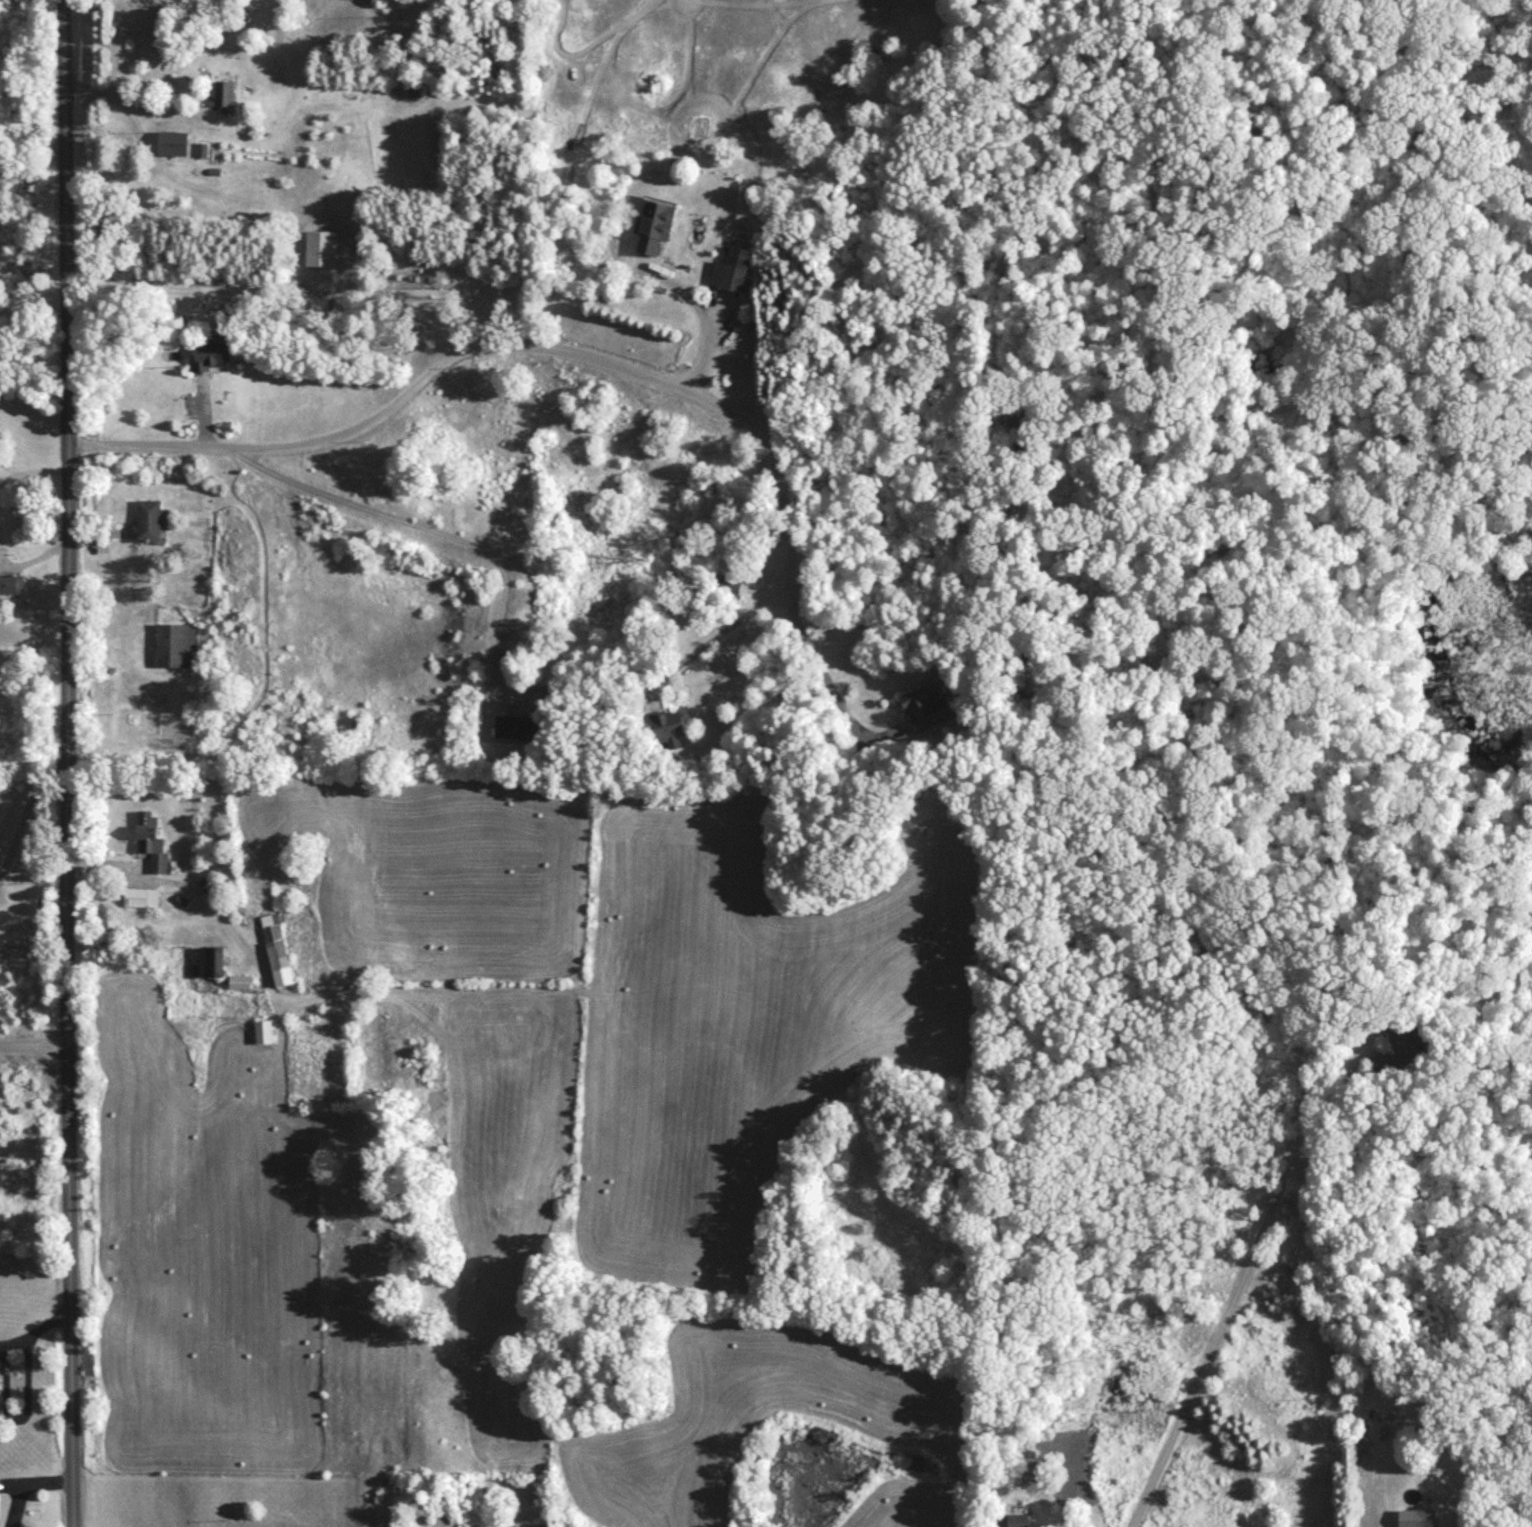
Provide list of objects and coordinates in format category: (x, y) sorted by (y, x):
building: (221, 94)
road: (117, 101)
building: (172, 148)
building: (652, 229)
building: (731, 275)
road: (706, 320)
road: (491, 340)
building: (209, 360)
building: (146, 526)
road: (423, 527)
building: (11, 588)
building: (728, 589)
road: (717, 640)
building: (169, 651)
road: (823, 673)
building: (925, 713)
building: (513, 732)
building: (666, 733)
road: (72, 763)
road: (27, 804)
building: (149, 846)
building: (140, 902)
building: (273, 946)
building: (208, 966)
building: (237, 987)
building: (261, 1036)
road: (36, 1041)
building: (1382, 1067)
road: (1232, 1297)
road: (20, 1395)
building: (1415, 1521)
building: (1008, 1523)

